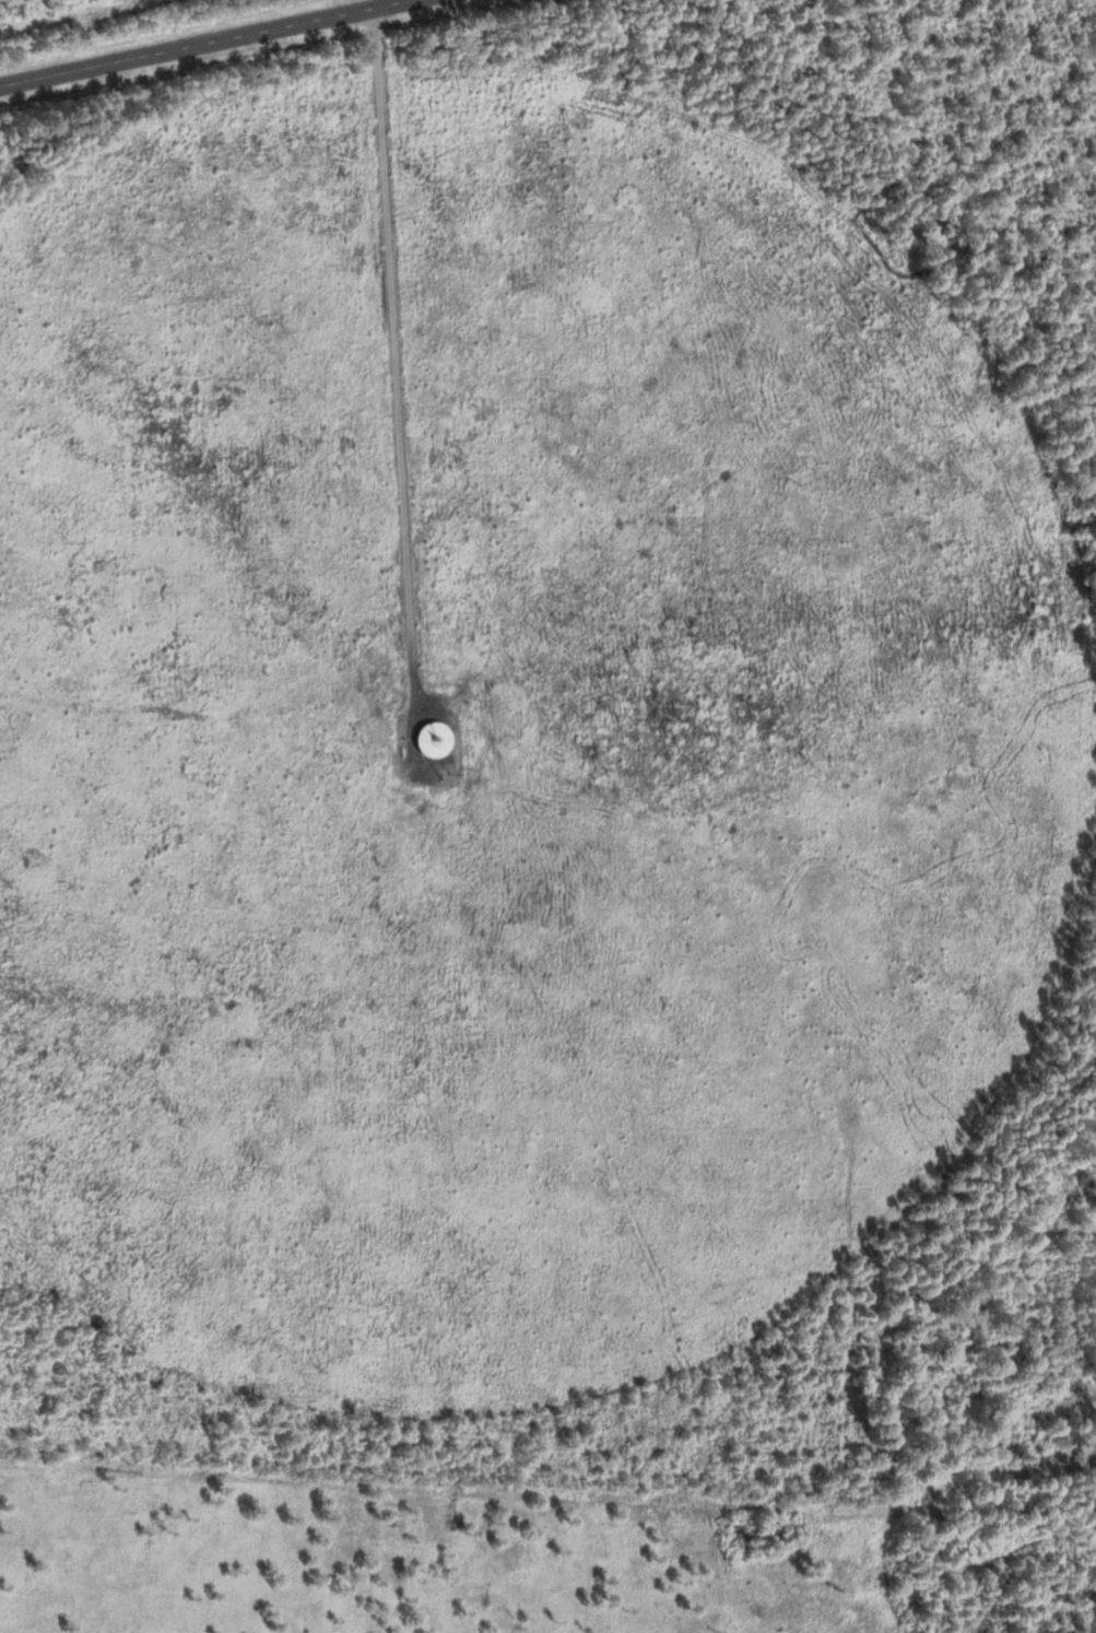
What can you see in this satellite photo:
road: (205, 43)
road: (401, 448)
building: (429, 740)
road: (848, 1397)
road: (1082, 1453)
road: (880, 1508)

